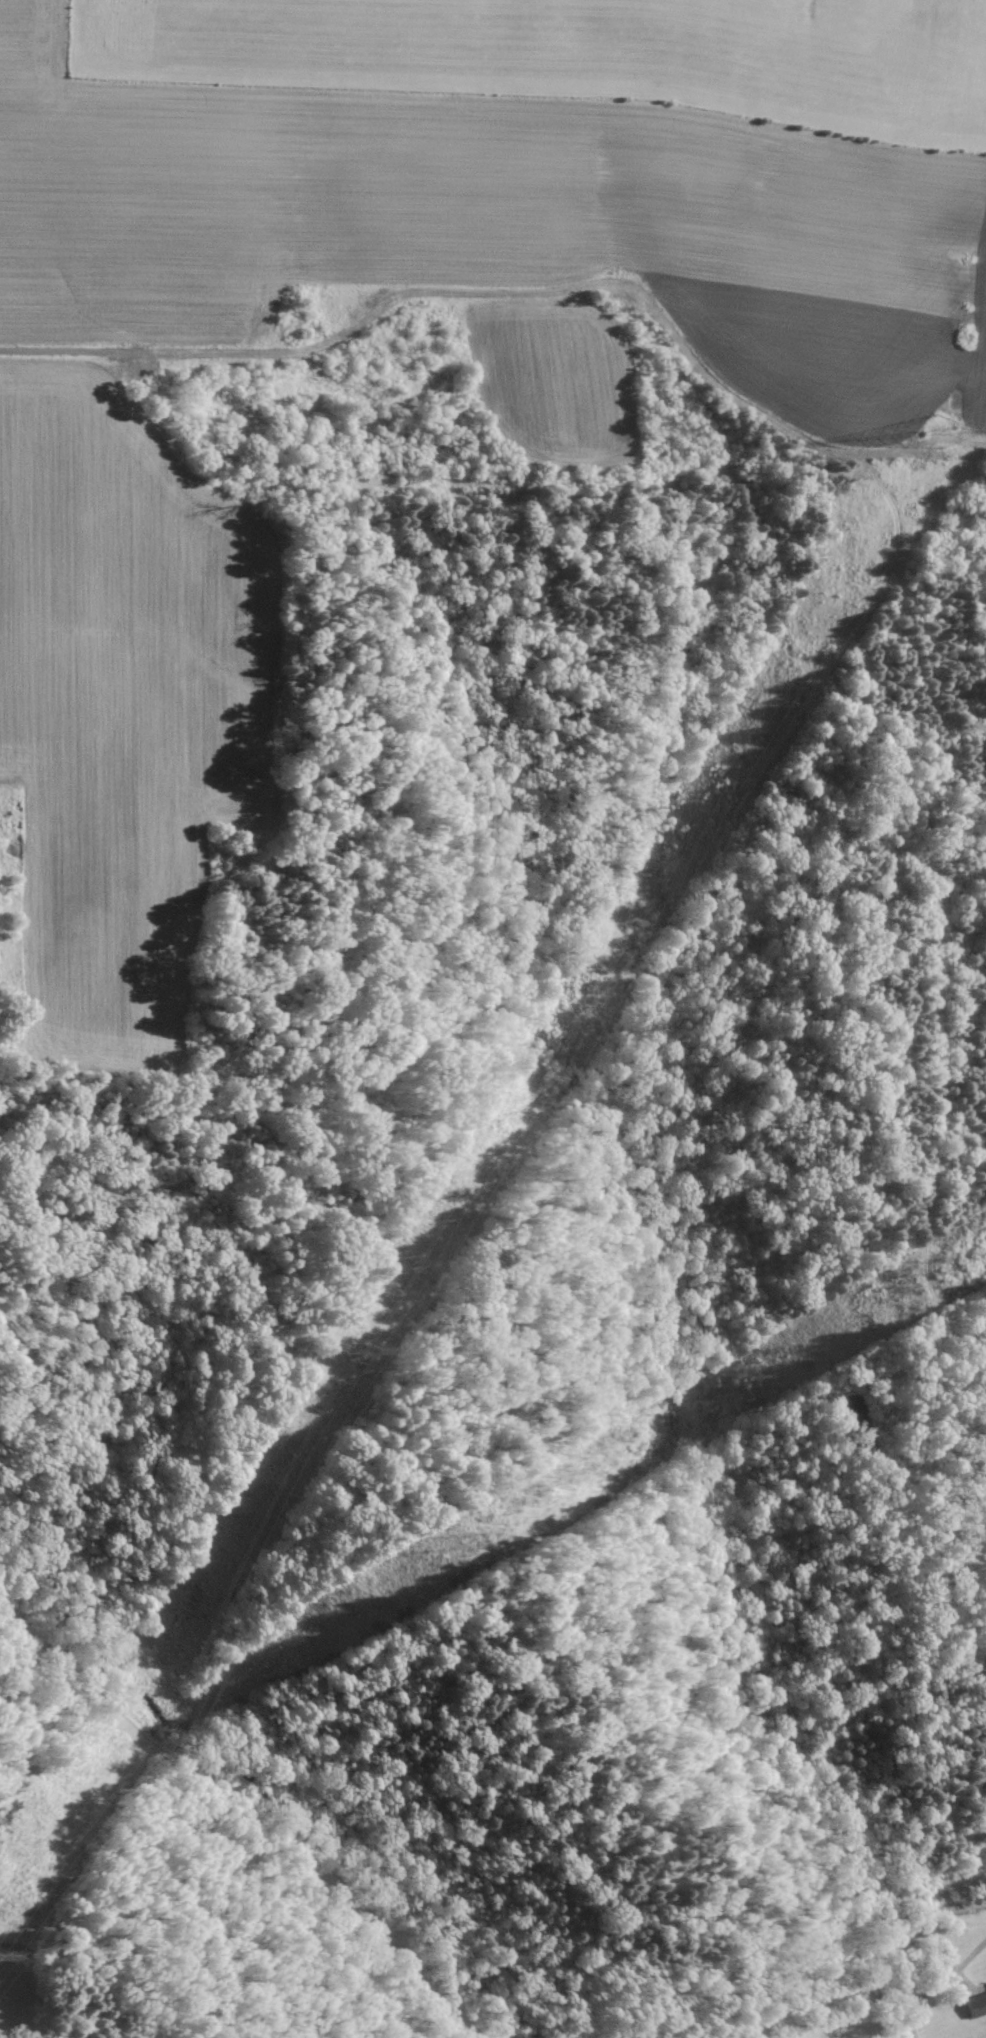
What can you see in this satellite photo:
power tower: (939, 434)
power tower: (943, 1267)
power tower: (355, 1354)
building: (975, 2006)

